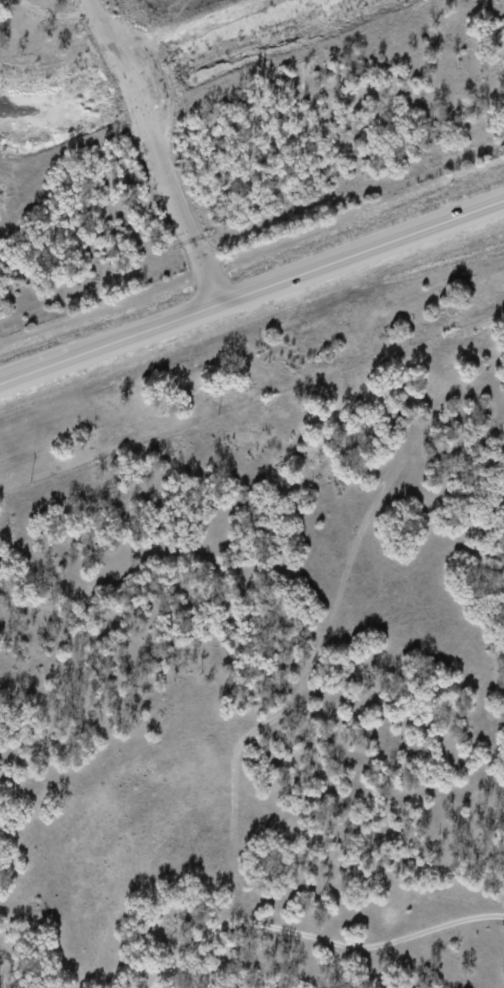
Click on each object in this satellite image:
road: (152, 152)
road: (251, 291)

